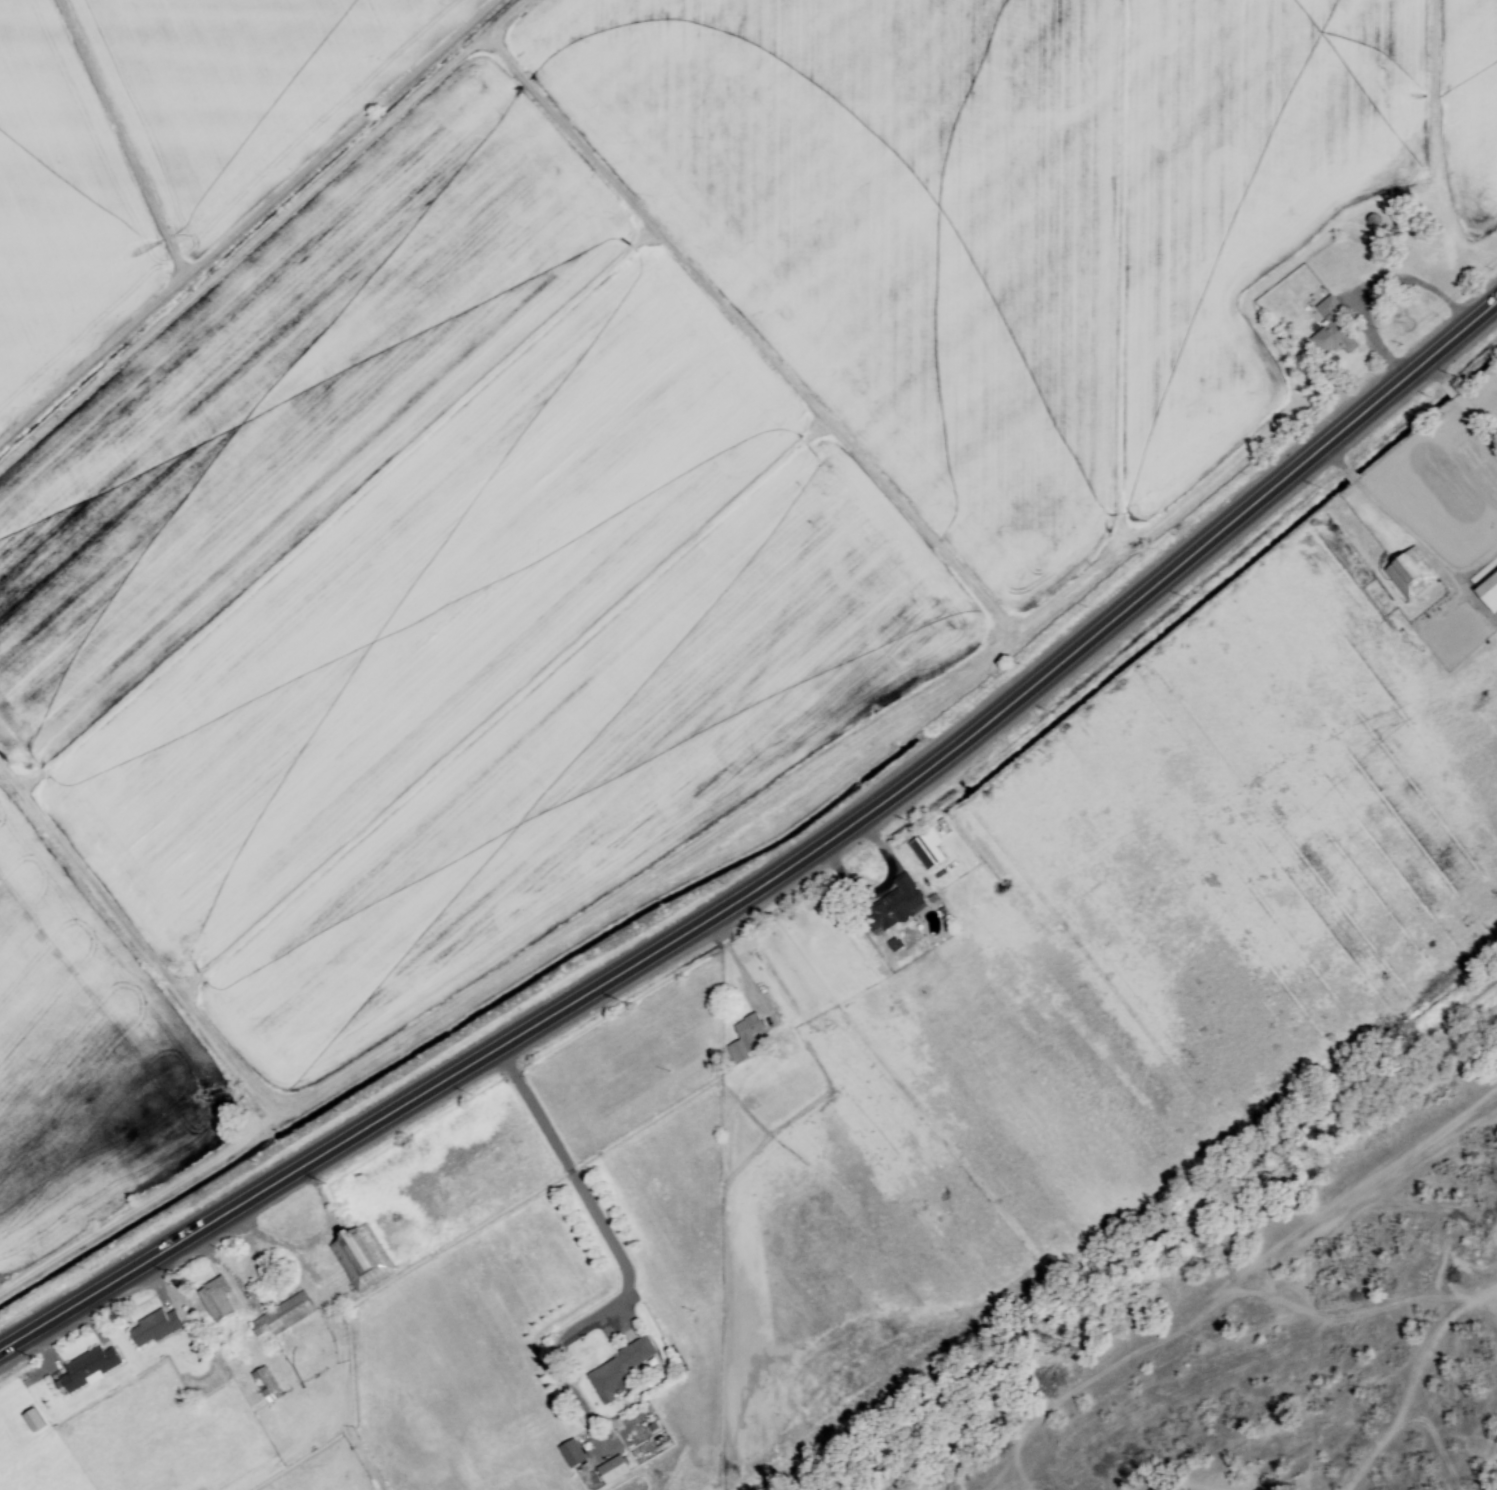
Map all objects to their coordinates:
road: (1374, 288)
building: (1330, 329)
road: (1462, 406)
road: (1385, 512)
building: (1408, 573)
building: (1487, 592)
building: (925, 850)
road: (783, 876)
building: (892, 907)
building: (892, 945)
building: (743, 1038)
road: (576, 1177)
building: (213, 1300)
building: (283, 1316)
building: (151, 1329)
building: (85, 1369)
building: (617, 1370)
building: (264, 1385)
building: (569, 1454)
building: (632, 1459)
building: (610, 1471)

